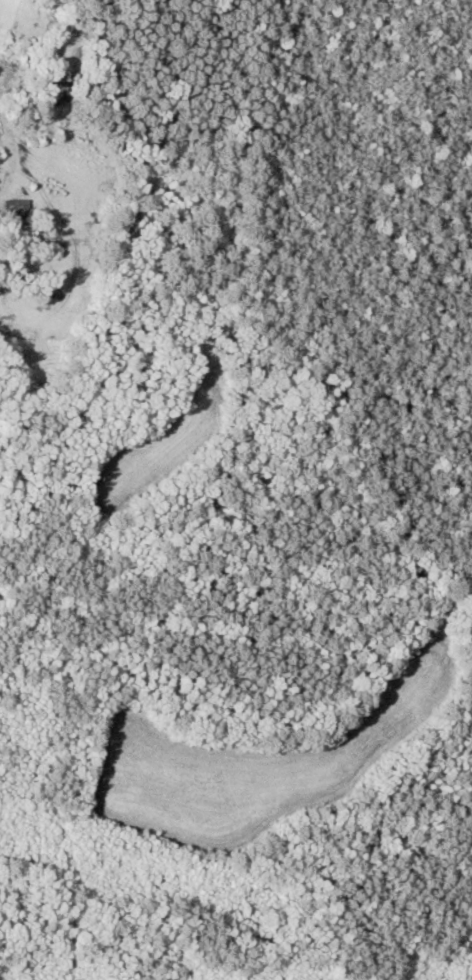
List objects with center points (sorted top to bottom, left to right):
building: (0, 158)
building: (16, 212)

